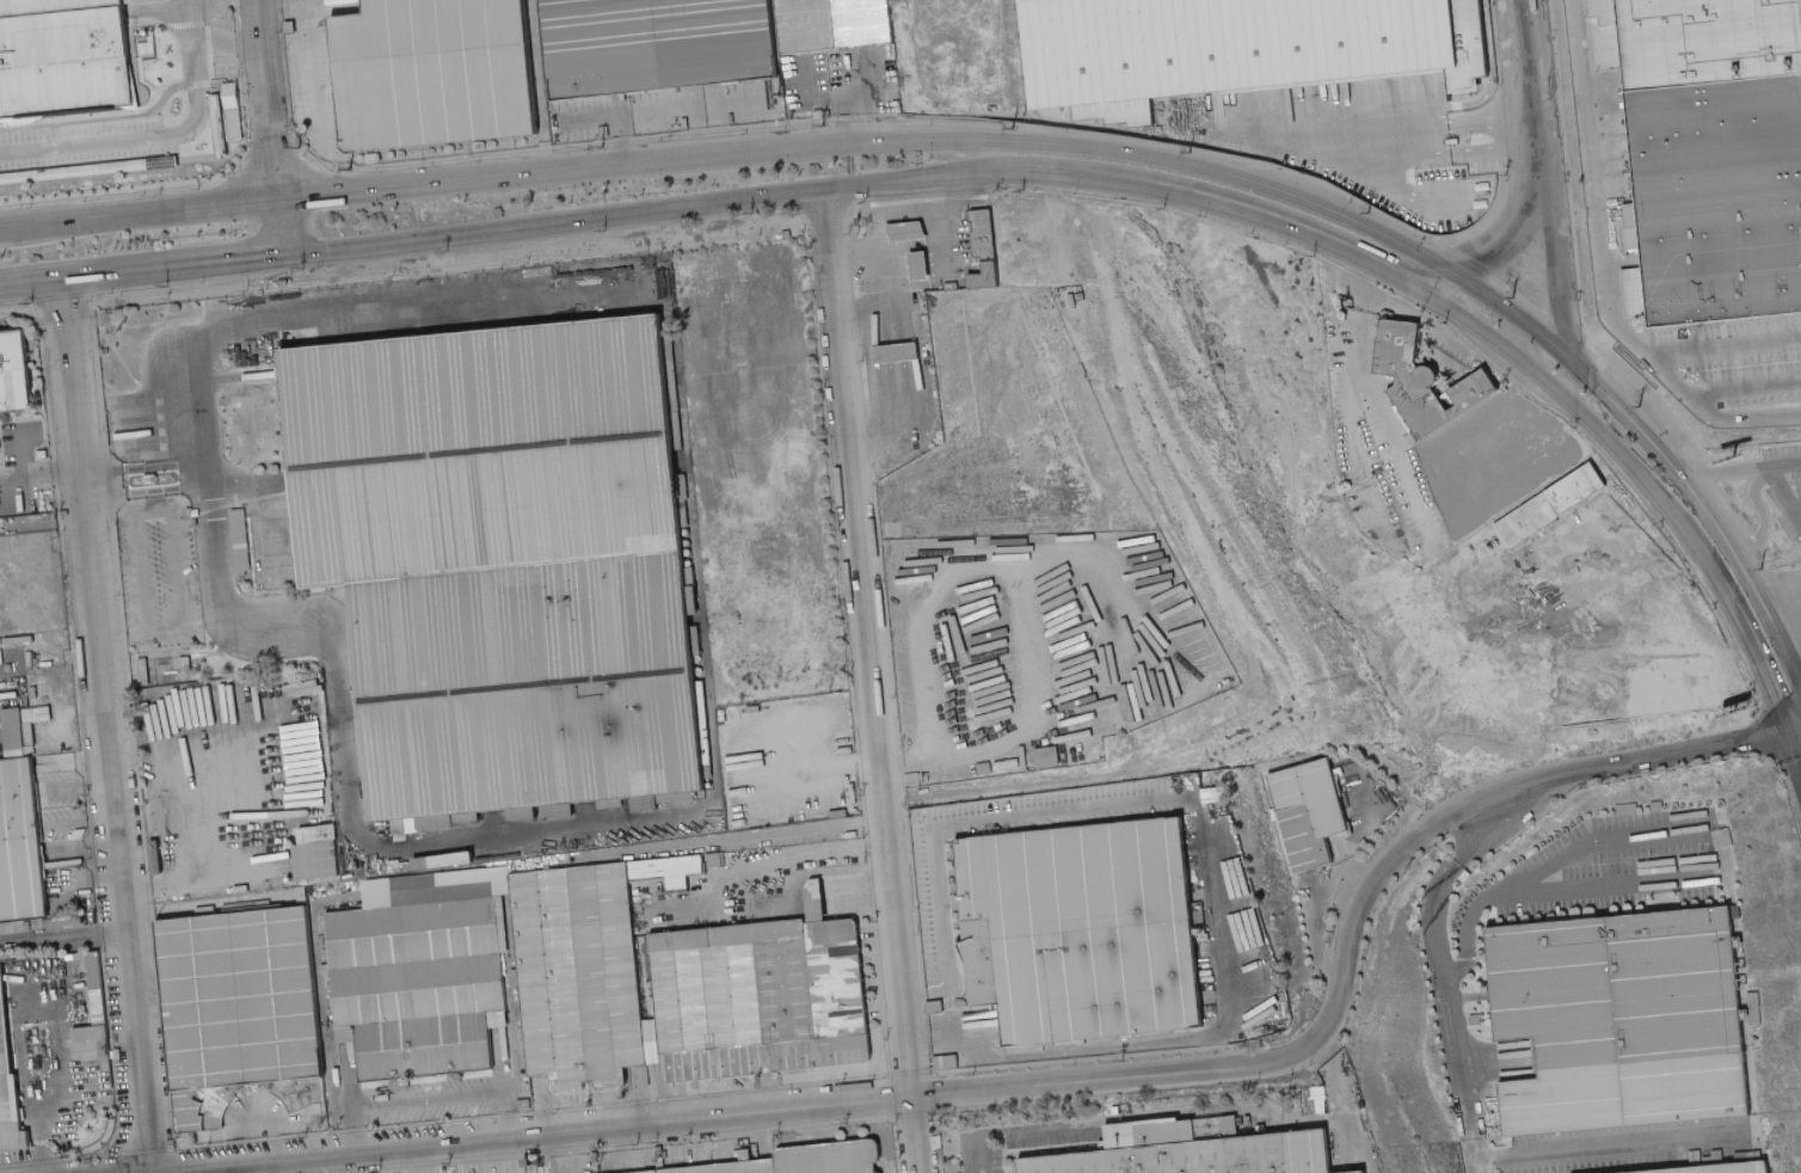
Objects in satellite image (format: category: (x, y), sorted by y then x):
road: (1536, 50)
road: (1510, 54)
power tower: (822, 124)
power tower: (1009, 125)
road: (273, 127)
parking lot: (81, 142)
power tower: (297, 146)
power tower: (602, 146)
power tower: (1188, 152)
power tower: (349, 167)
power tower: (1369, 213)
gas station: (906, 228)
gas station: (920, 264)
power tower: (1512, 296)
gas station: (910, 307)
power tower: (1637, 406)
power tower: (1760, 569)
parking lot: (738, 837)

